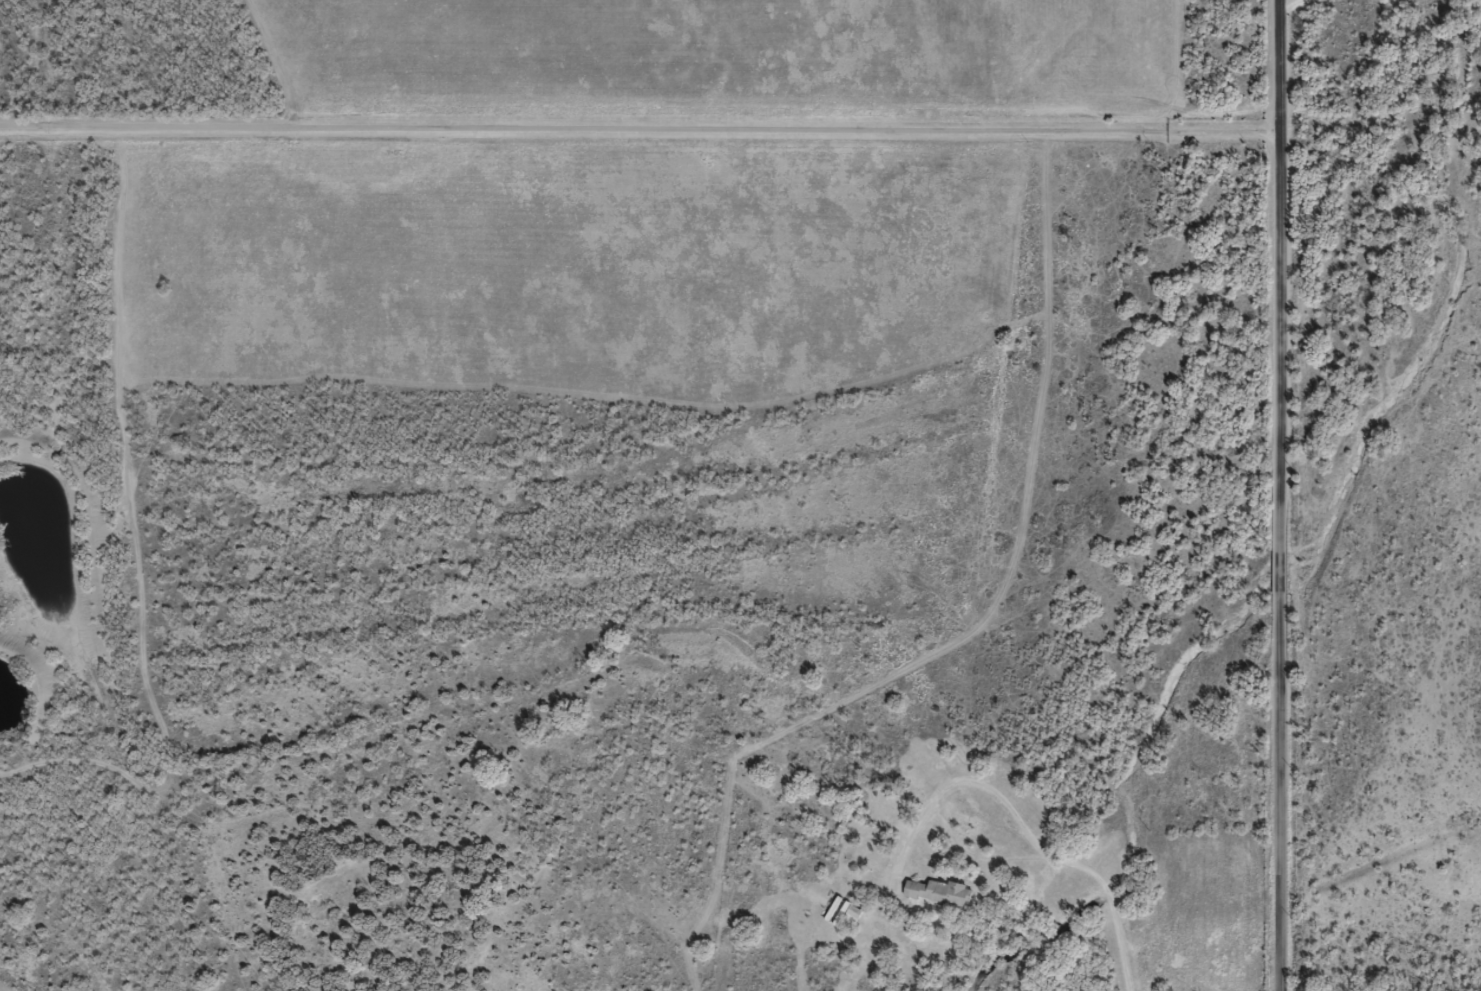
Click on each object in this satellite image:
road: (1292, 77)
road: (646, 149)
road: (1306, 568)
road: (695, 754)
building: (938, 891)

